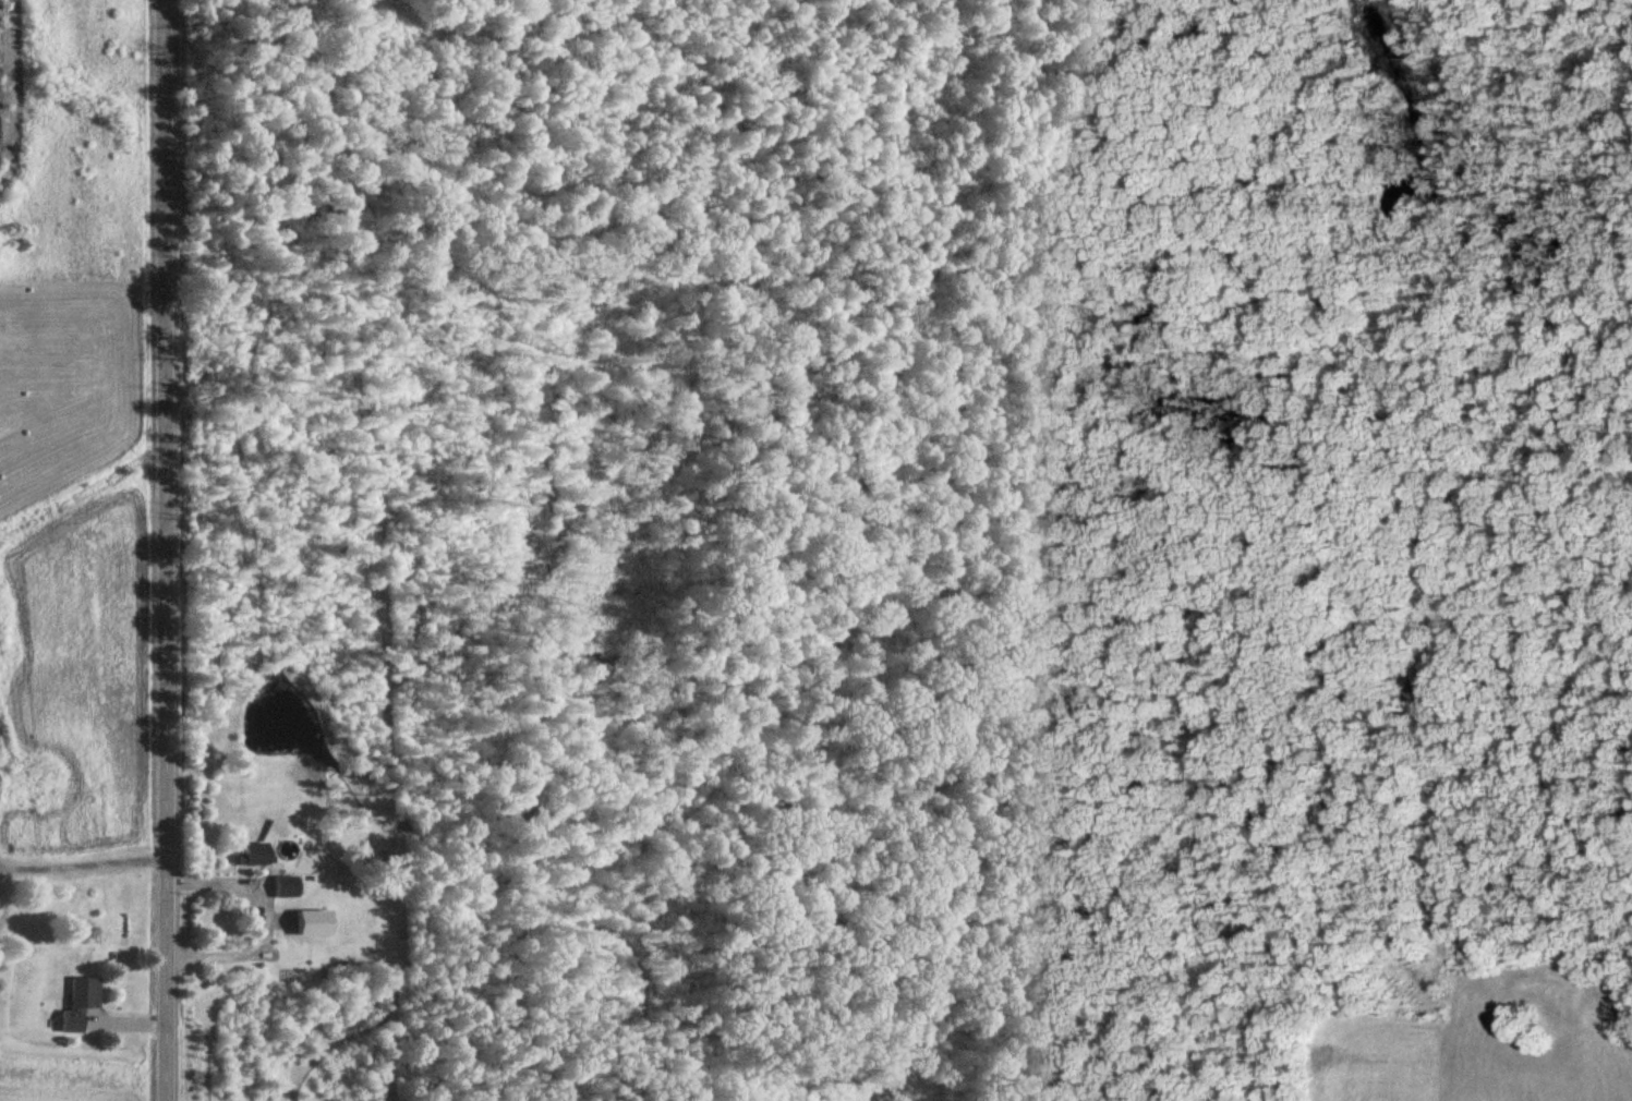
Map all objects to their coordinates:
road: (161, 550)
building: (257, 854)
building: (288, 886)
building: (82, 1001)

